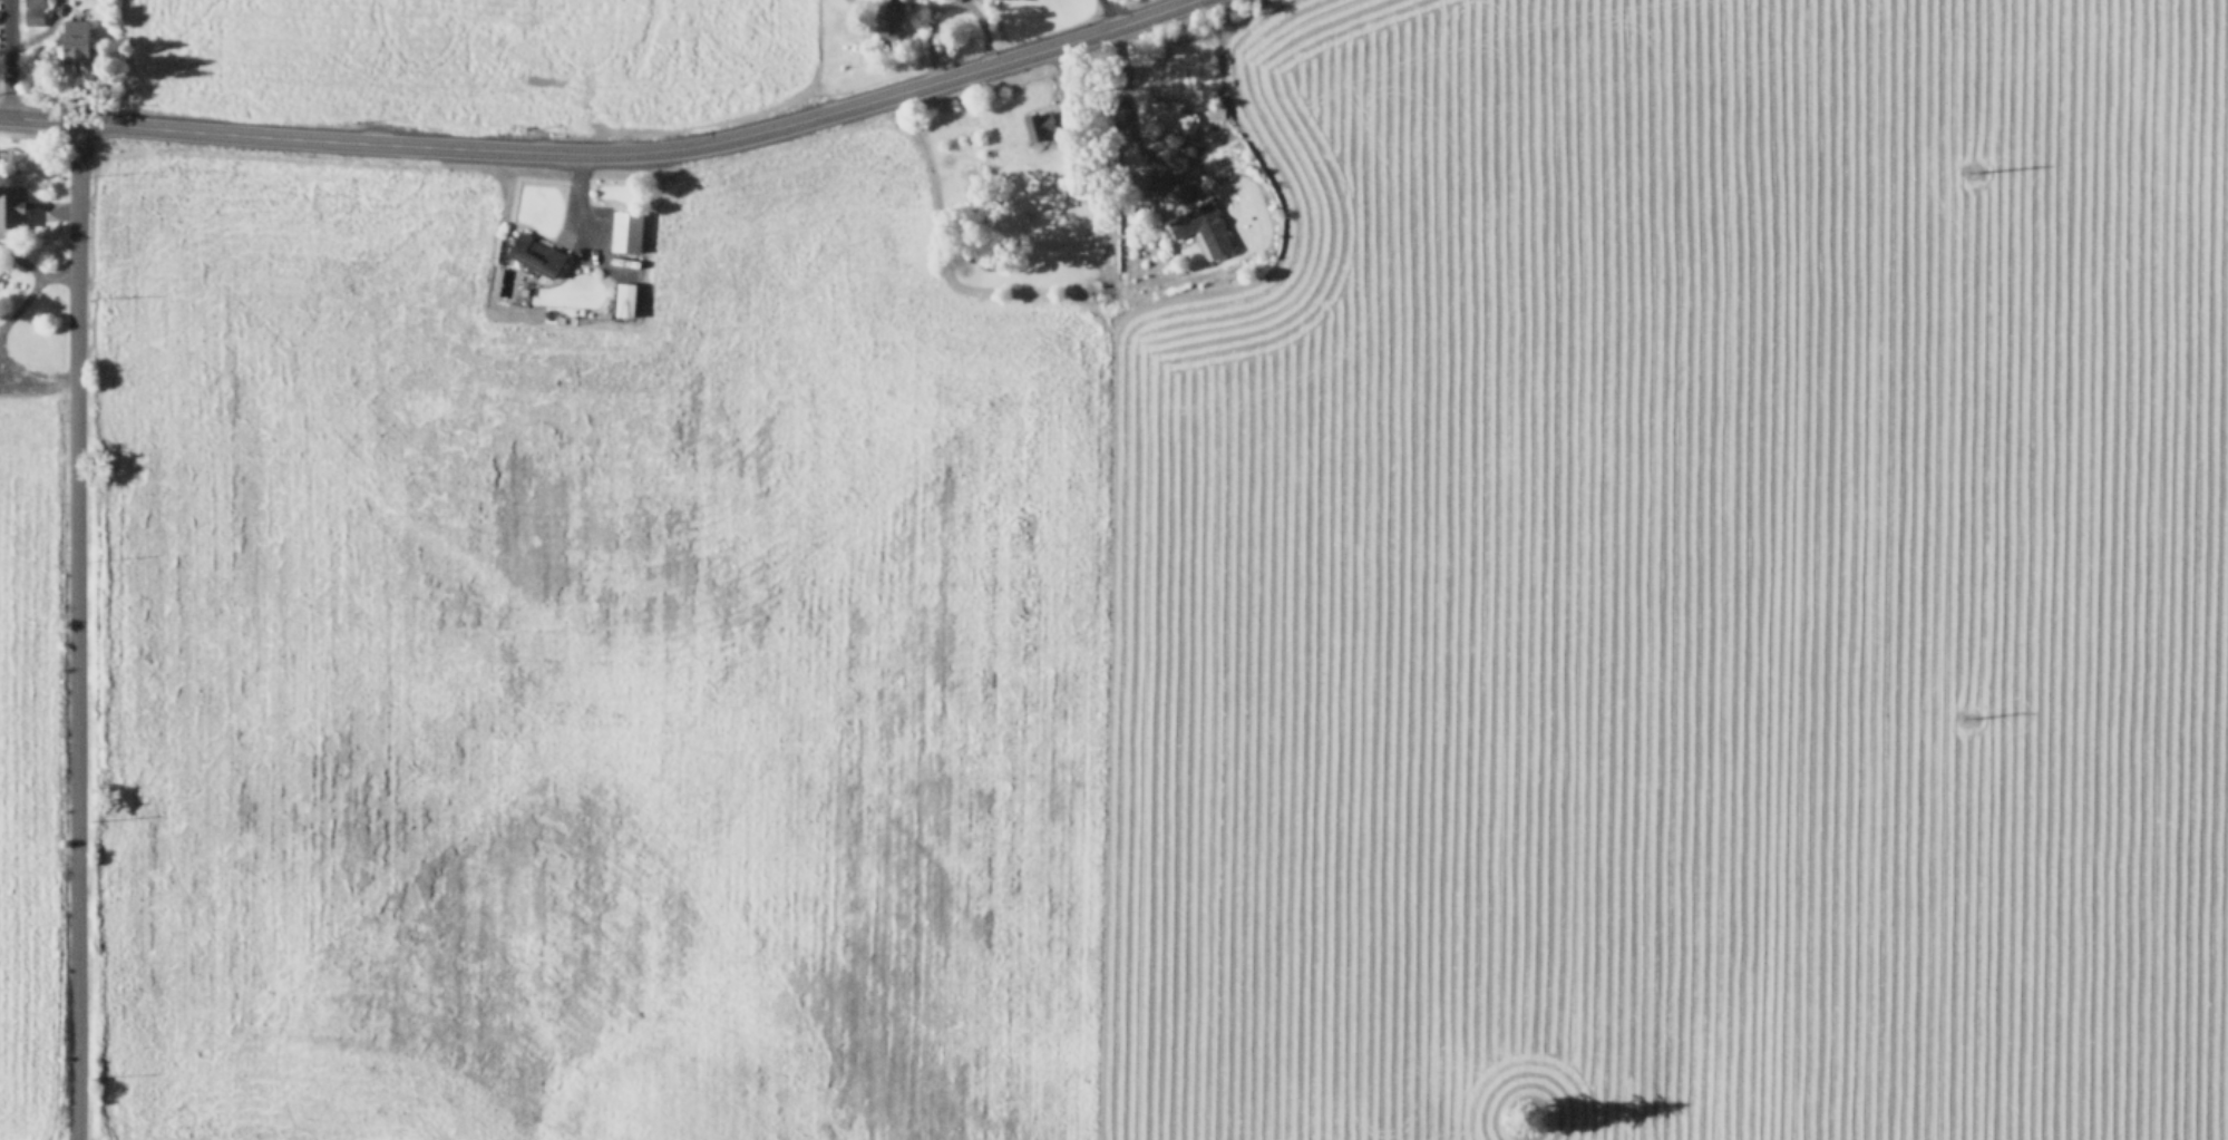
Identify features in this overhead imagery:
building: (31, 11)
road: (1107, 12)
building: (886, 16)
building: (71, 39)
crop: (688, 45)
crop: (228, 48)
road: (7, 57)
building: (1214, 109)
road: (1127, 111)
building: (1167, 113)
road: (2, 114)
building: (1037, 121)
road: (606, 150)
building: (10, 203)
road: (574, 215)
building: (1201, 224)
building: (624, 230)
building: (533, 253)
building: (623, 298)
road: (0, 333)
crop: (1158, 606)
road: (74, 630)

